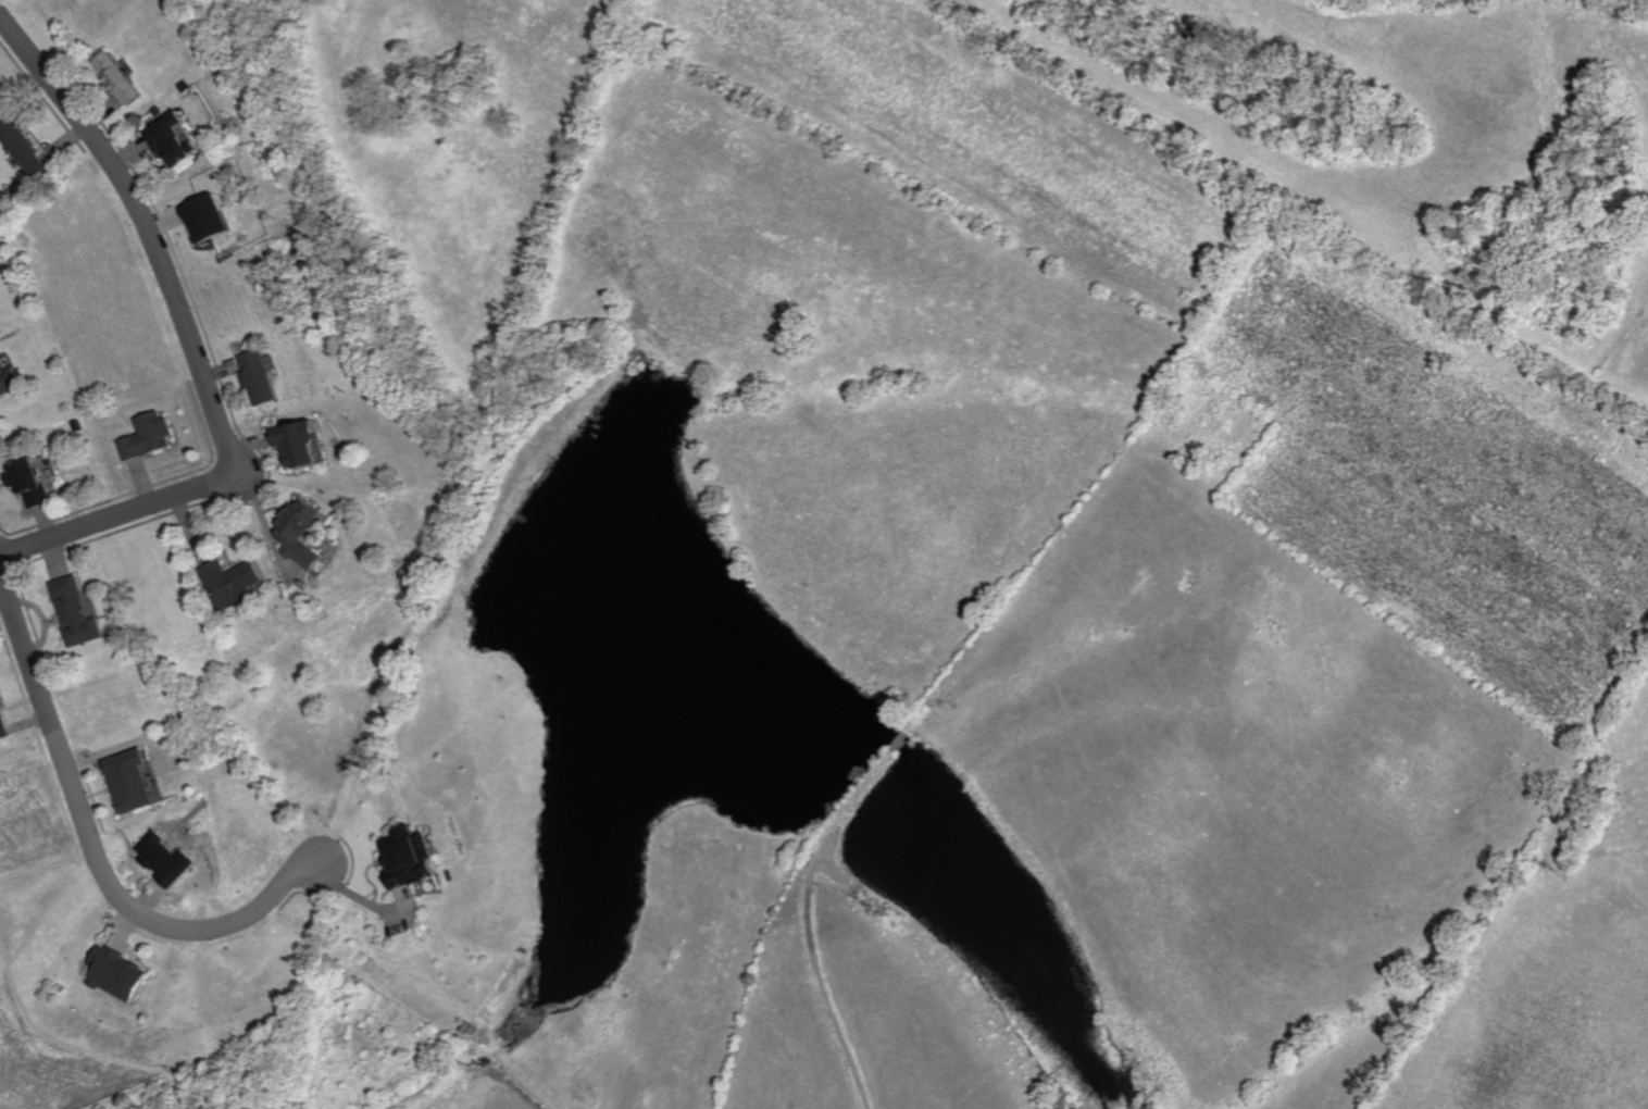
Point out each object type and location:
building: (118, 76)
building: (174, 138)
building: (23, 147)
building: (210, 216)
road: (153, 226)
building: (261, 375)
building: (9, 378)
building: (148, 435)
building: (300, 441)
building: (28, 479)
road: (122, 518)
building: (301, 532)
building: (230, 581)
building: (75, 611)
building: (2, 724)
building: (128, 780)
road: (91, 855)
building: (409, 857)
building: (116, 973)

